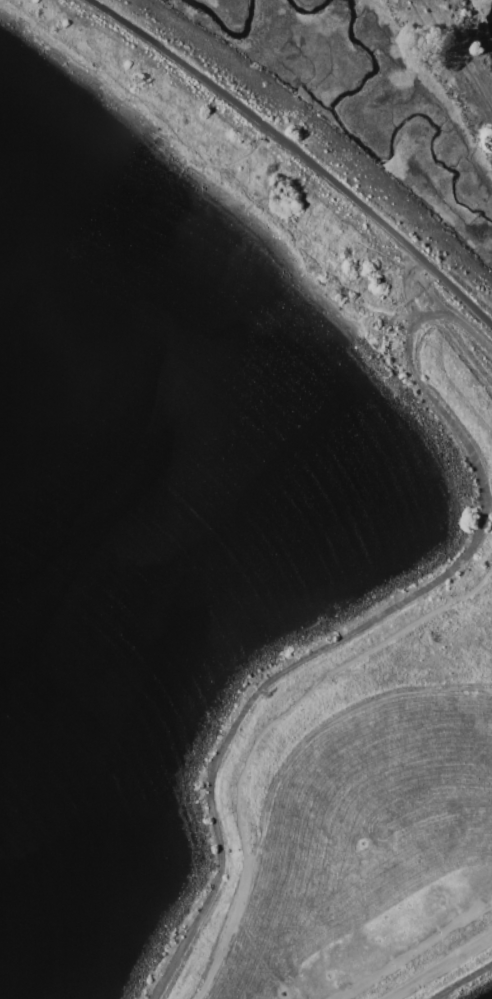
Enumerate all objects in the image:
road: (295, 153)
road: (222, 169)
road: (445, 369)
park: (472, 499)
road: (371, 620)
road: (292, 705)
road: (329, 722)
road: (415, 951)
road: (215, 964)
road: (438, 966)
road: (465, 982)

